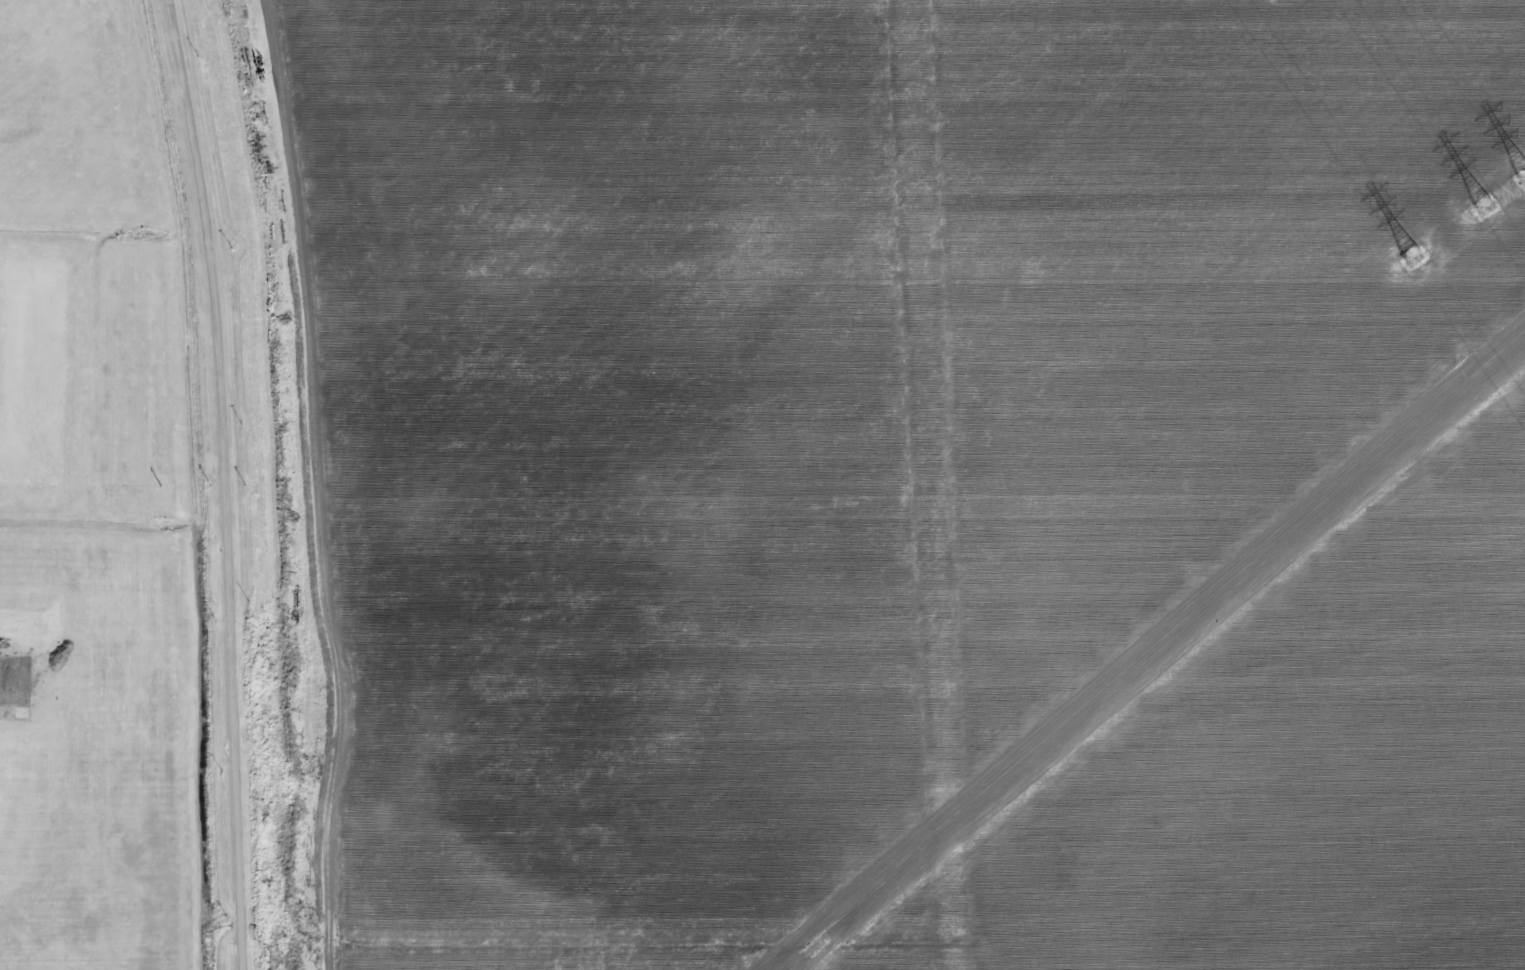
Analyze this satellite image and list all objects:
power tower: (1487, 209)
power tower: (1414, 261)
road: (232, 483)

